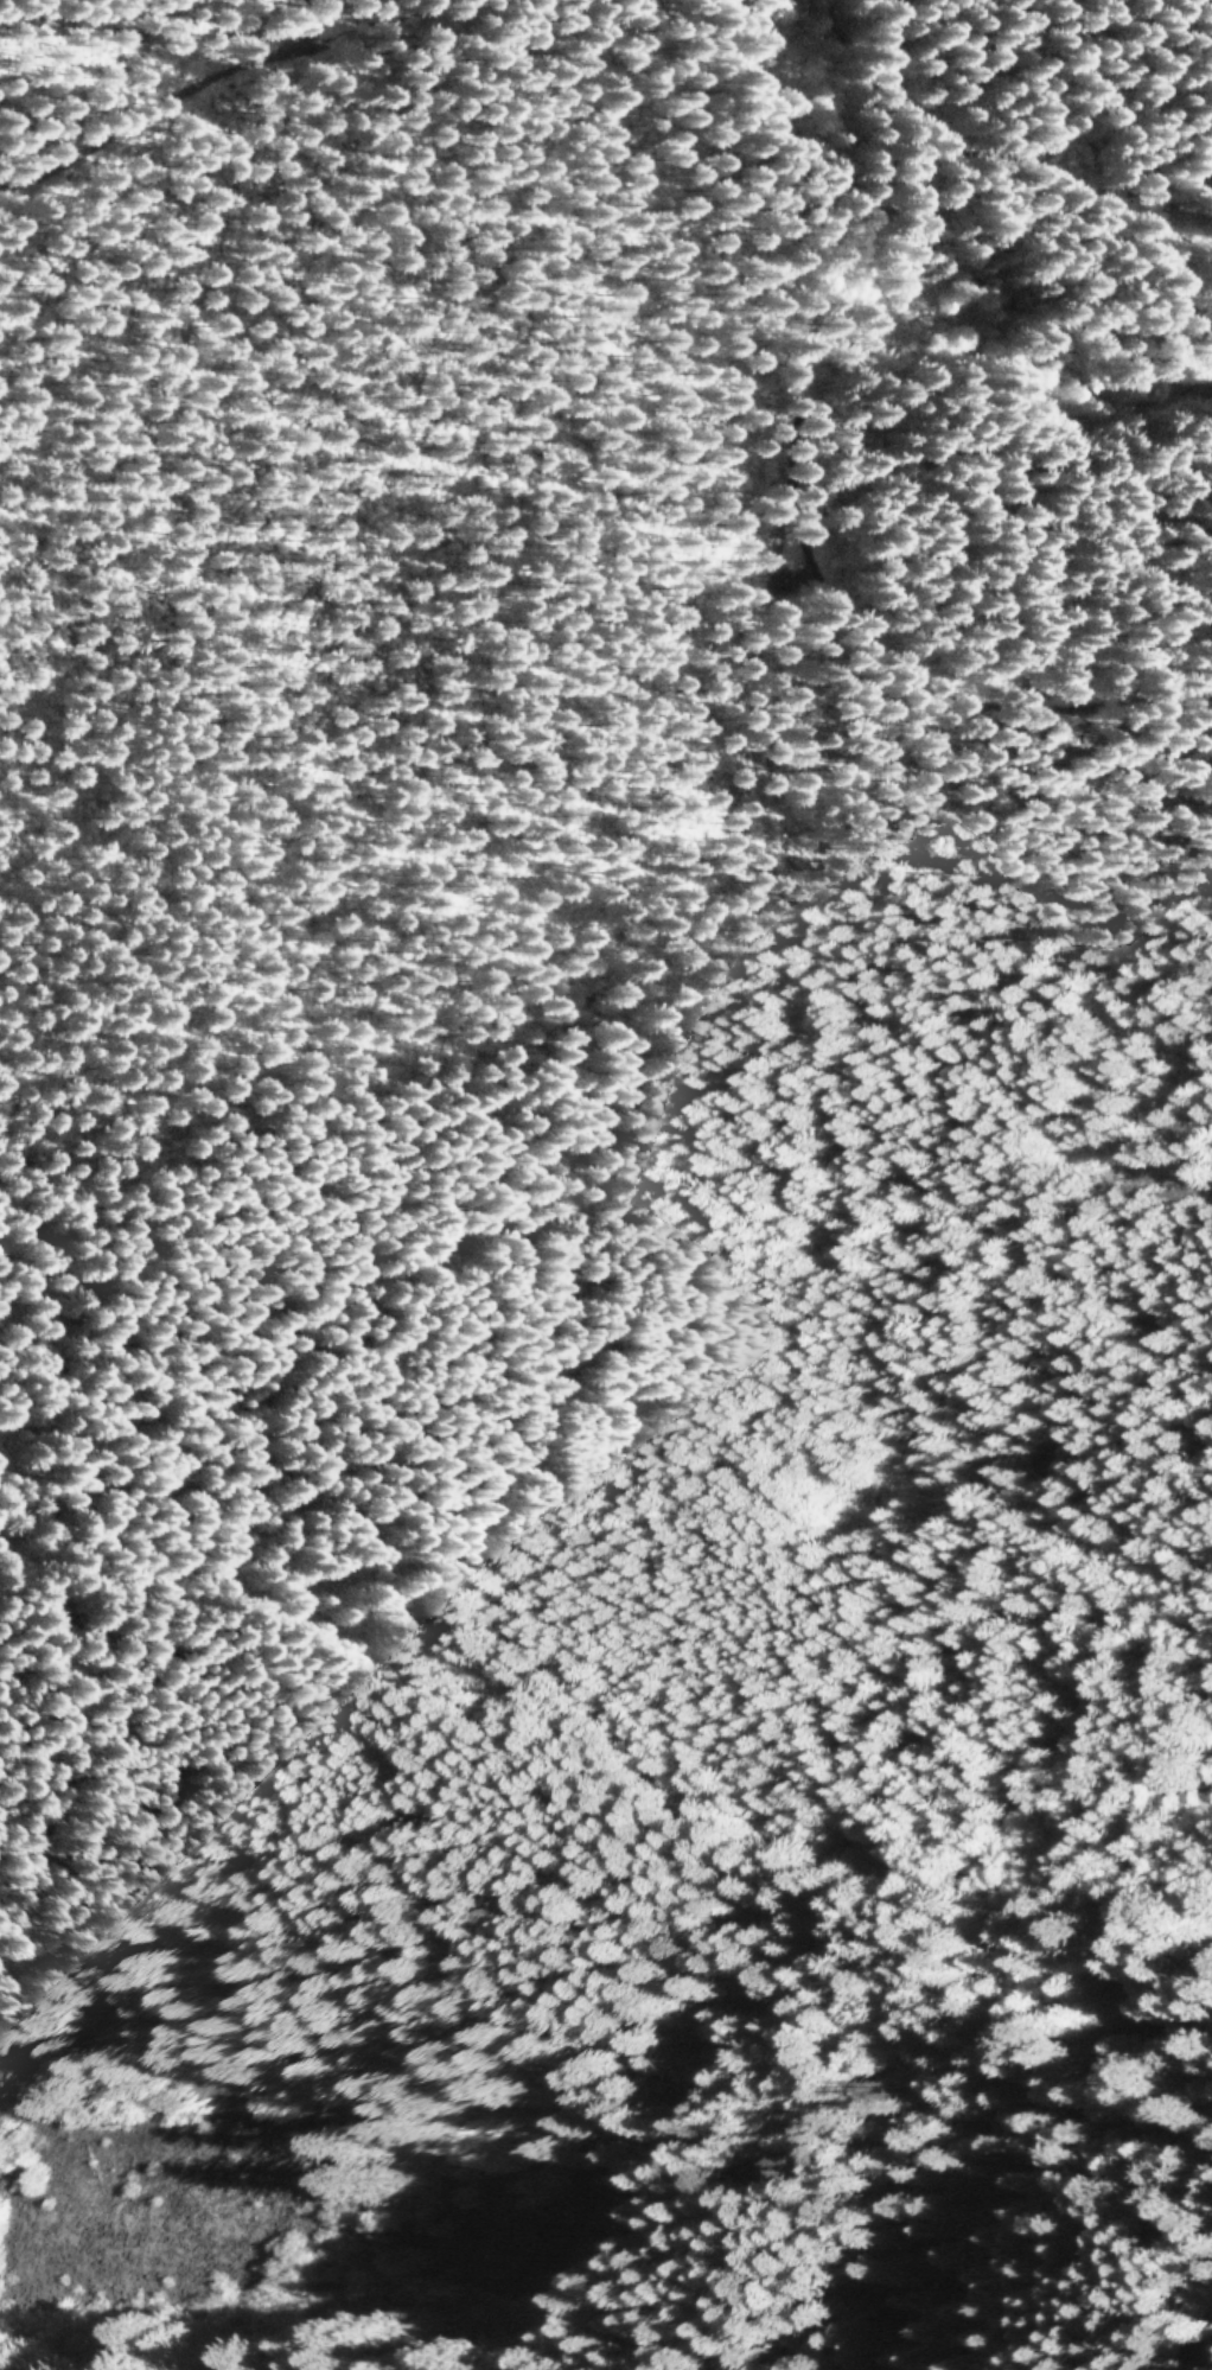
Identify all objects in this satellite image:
road: (761, 508)

